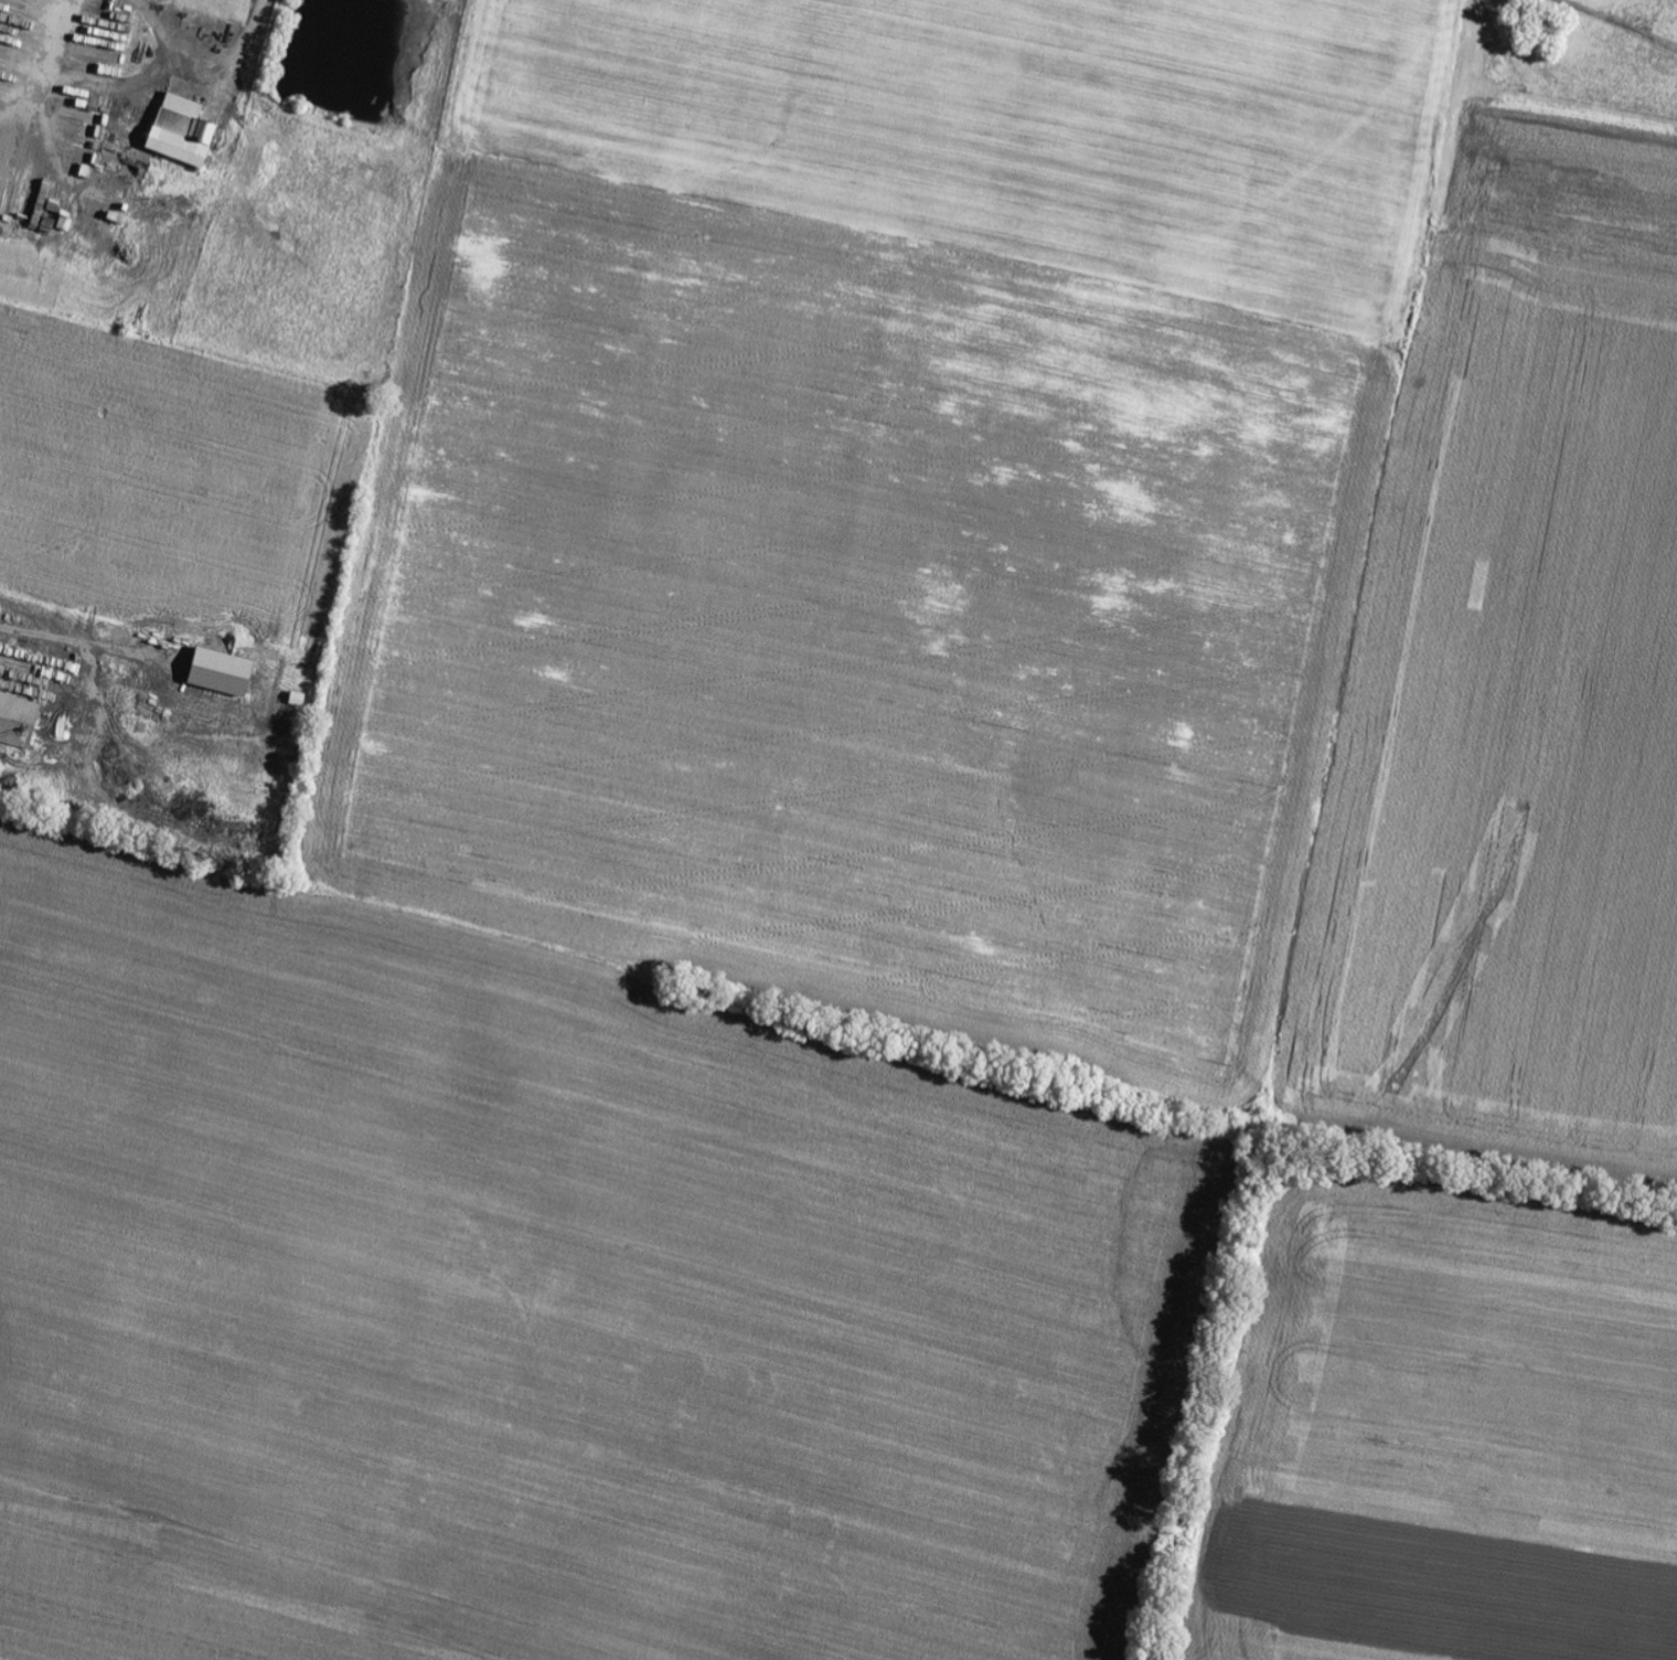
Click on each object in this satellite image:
building: (179, 131)
building: (18, 711)

